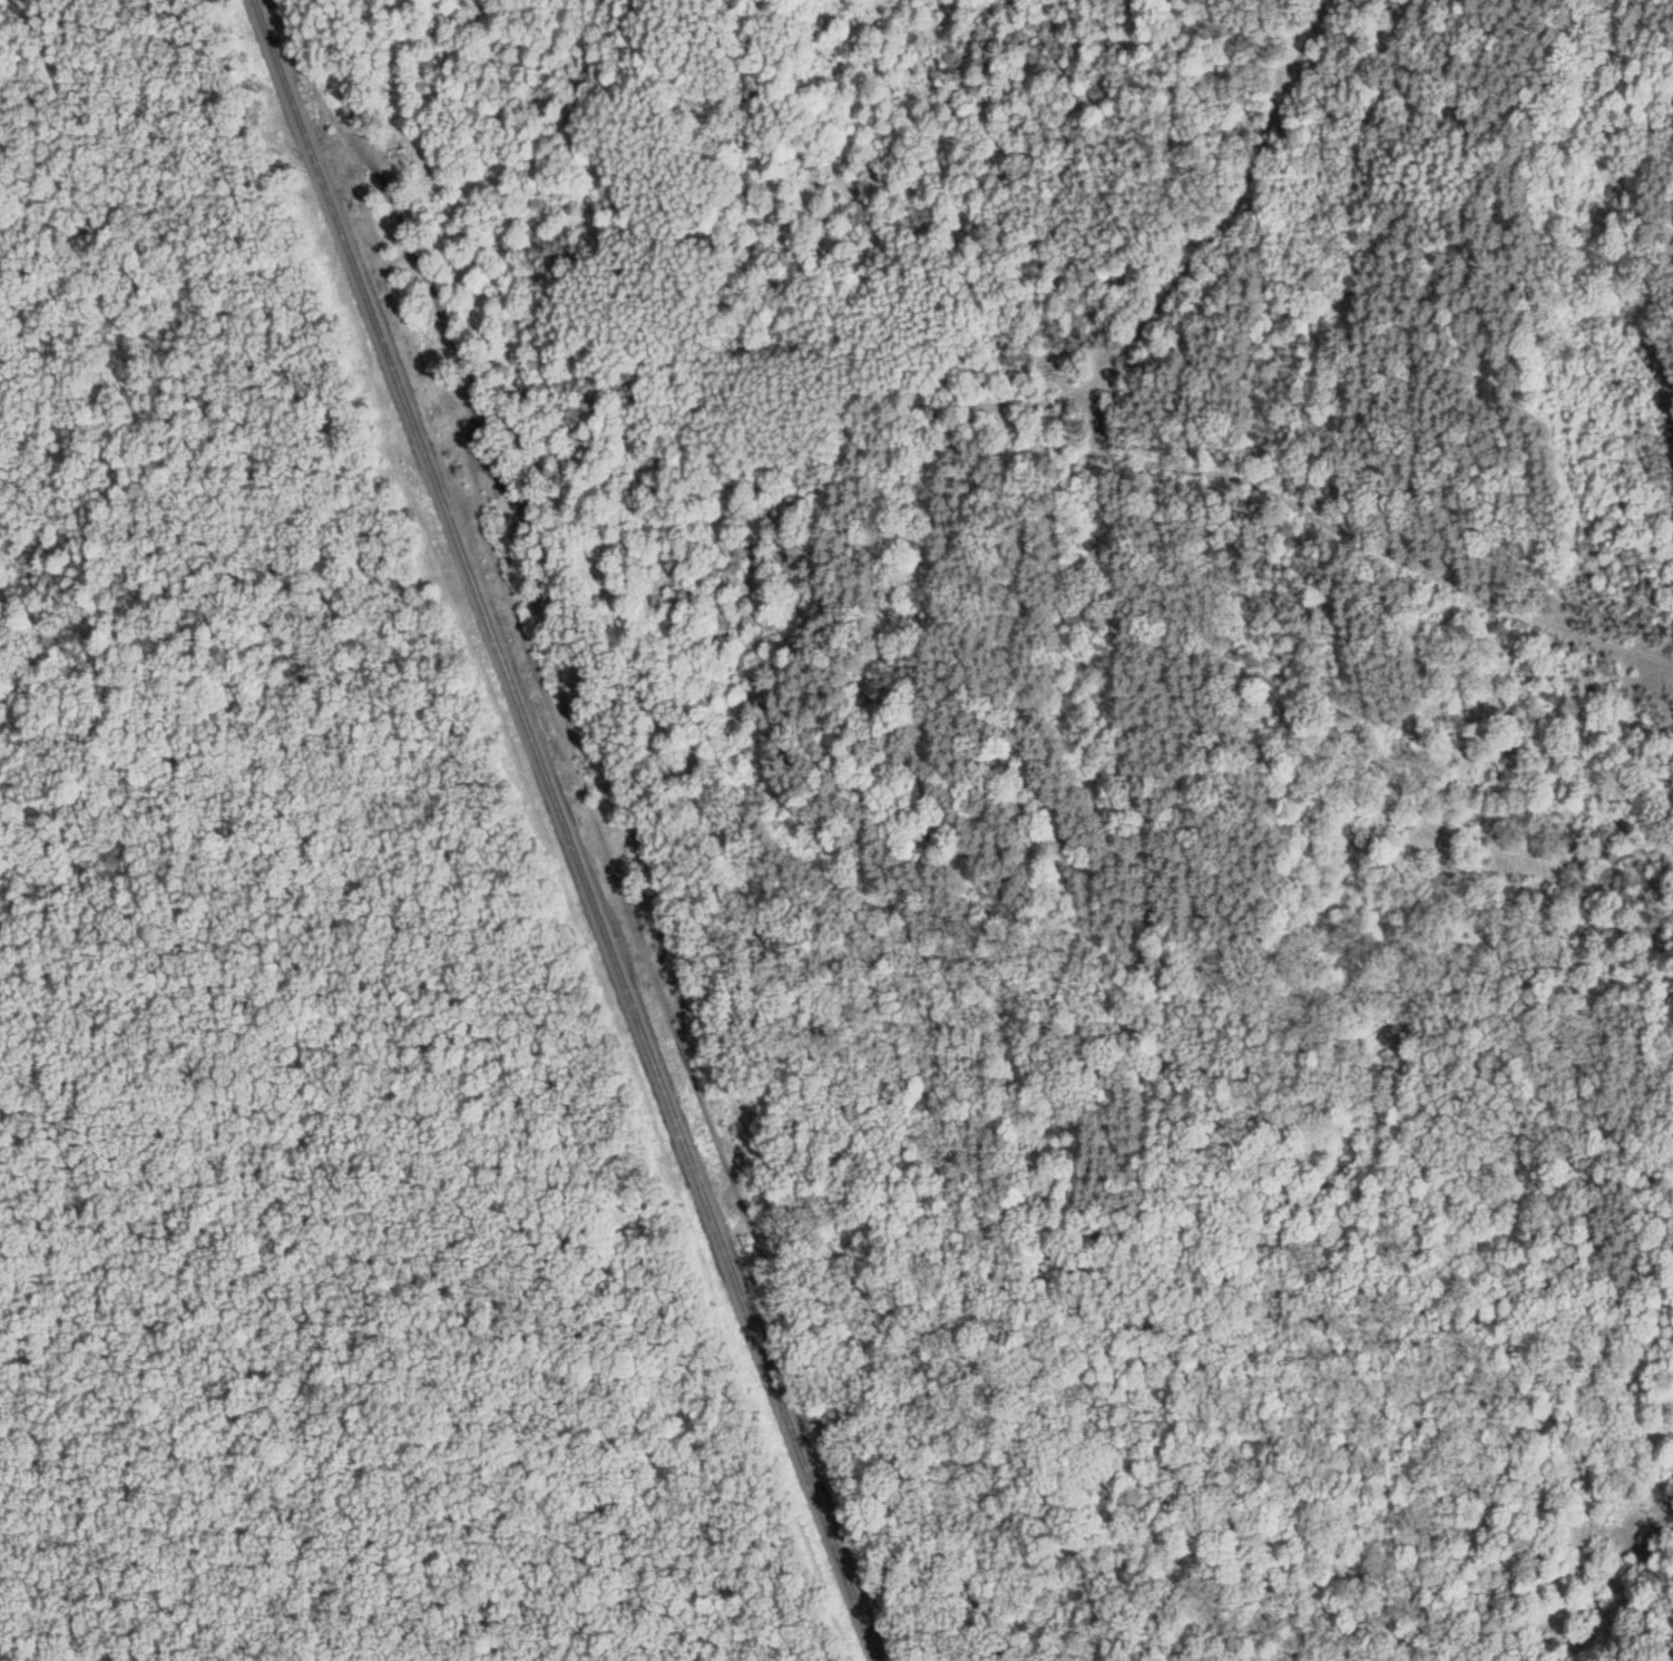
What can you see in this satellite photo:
road: (403, 215)
road: (1200, 243)
road: (1100, 451)
railway: (566, 830)
road: (754, 1069)

